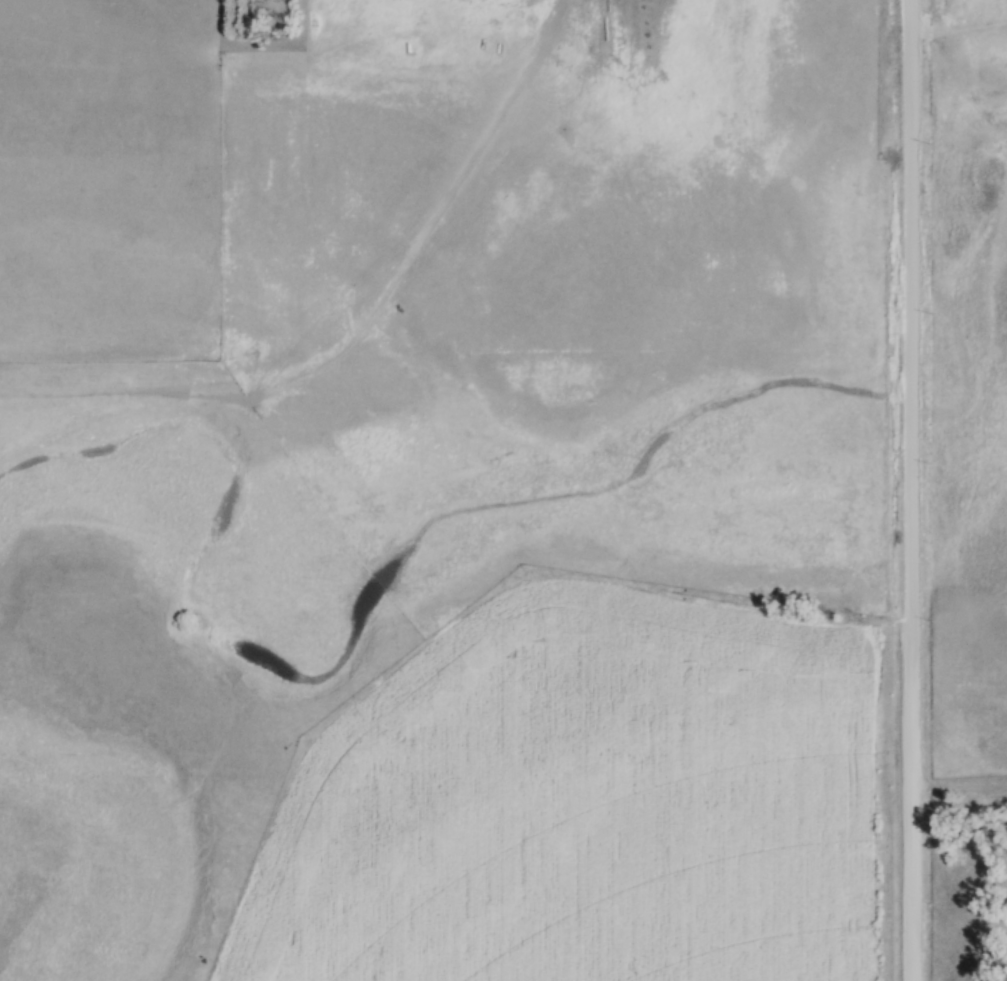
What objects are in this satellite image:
road: (913, 490)

